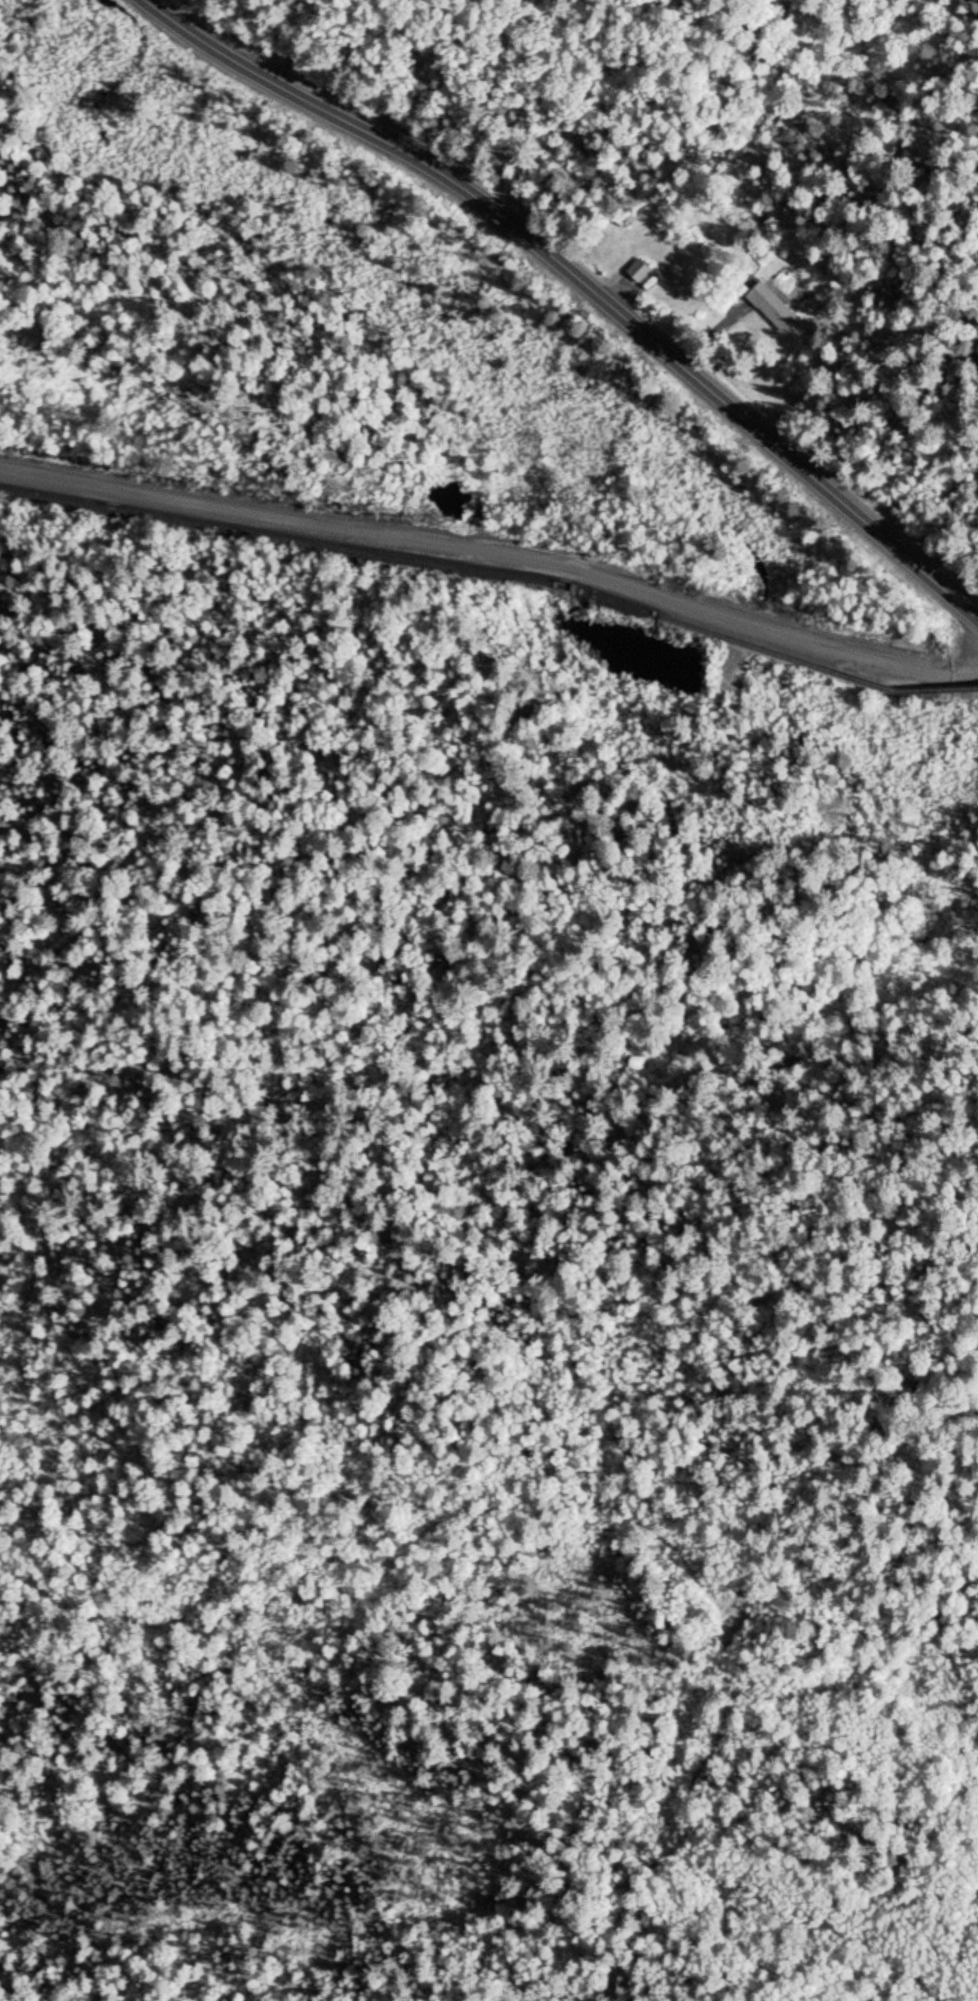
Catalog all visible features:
building: (639, 270)
road: (580, 278)
building: (772, 306)

